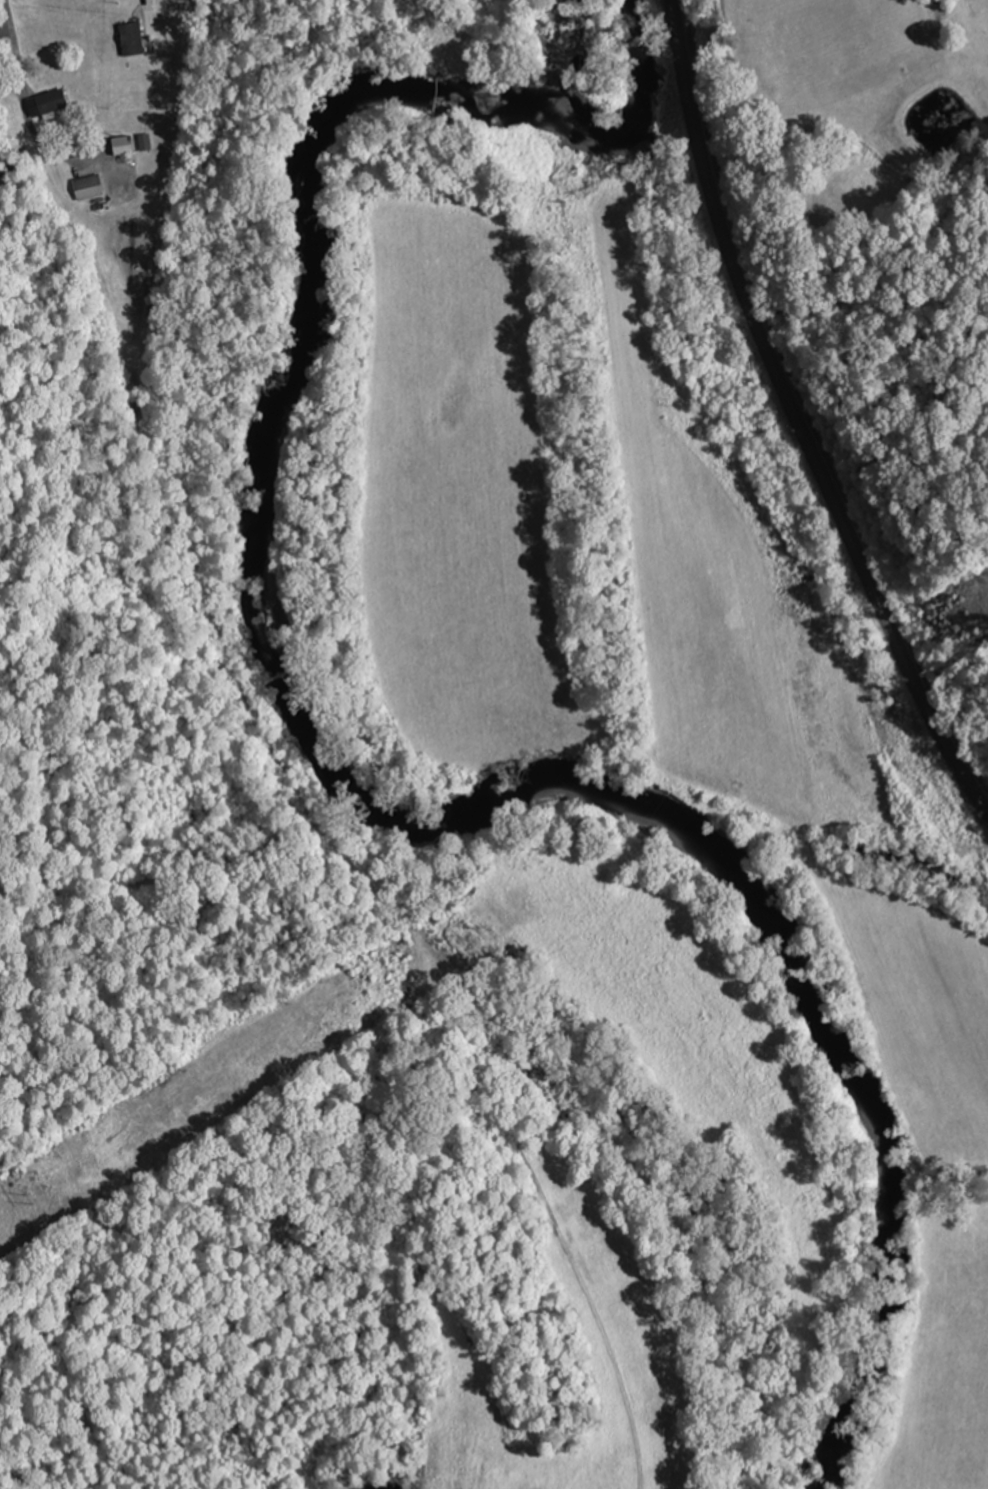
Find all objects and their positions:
building: (136, 40)
road: (13, 41)
building: (49, 104)
building: (129, 146)
building: (92, 188)
road: (795, 419)
river: (340, 781)

